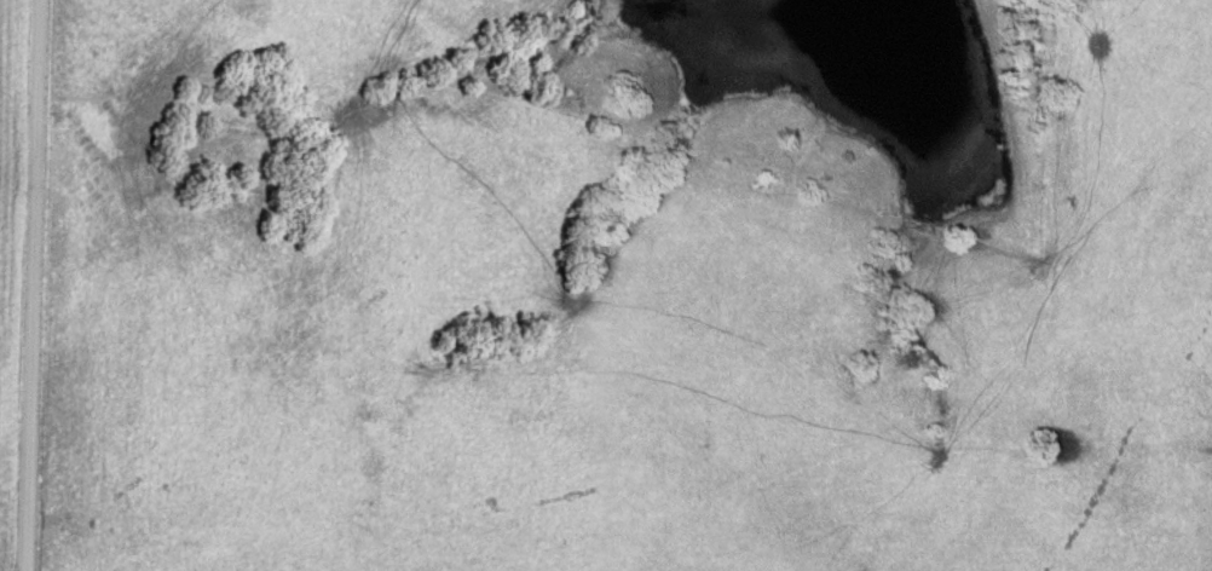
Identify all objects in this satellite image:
road: (31, 284)

